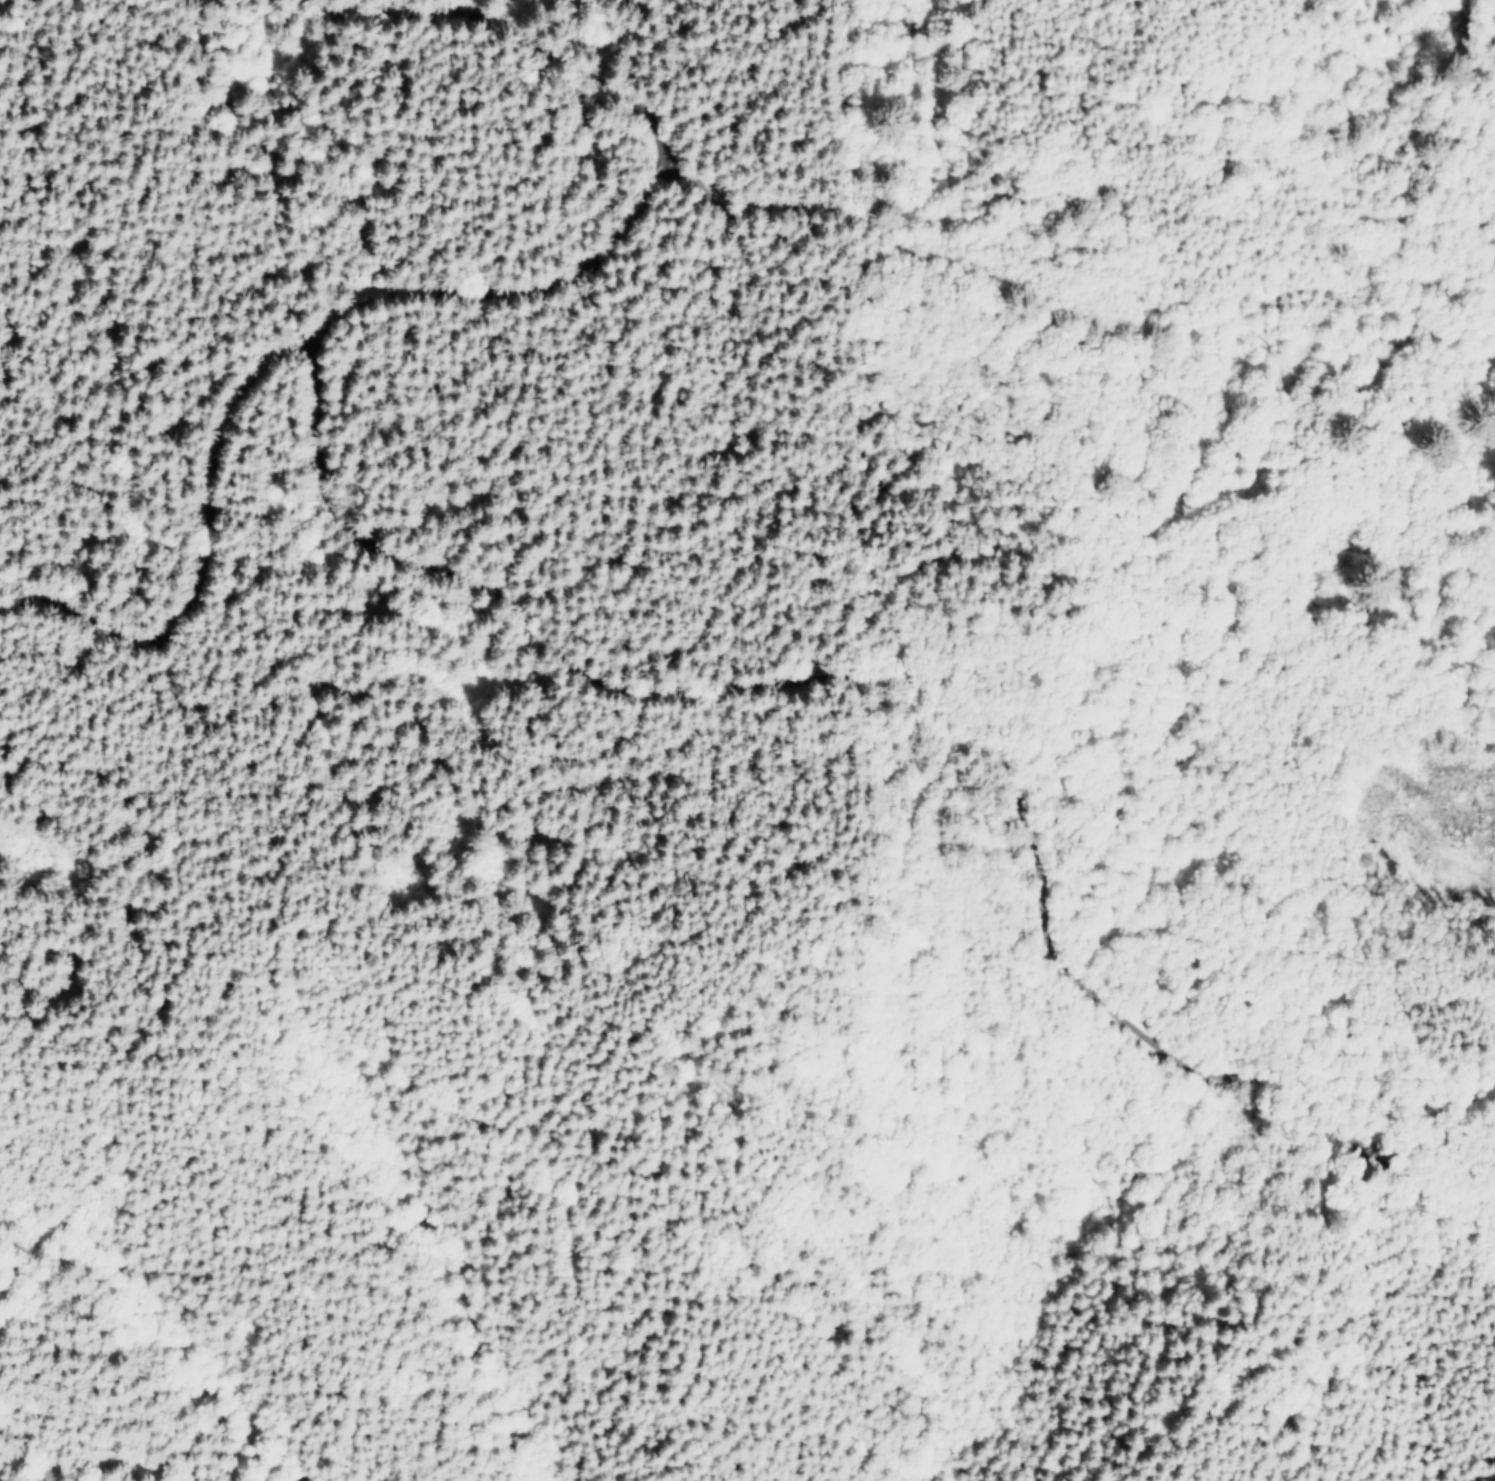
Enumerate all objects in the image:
road: (411, 303)

